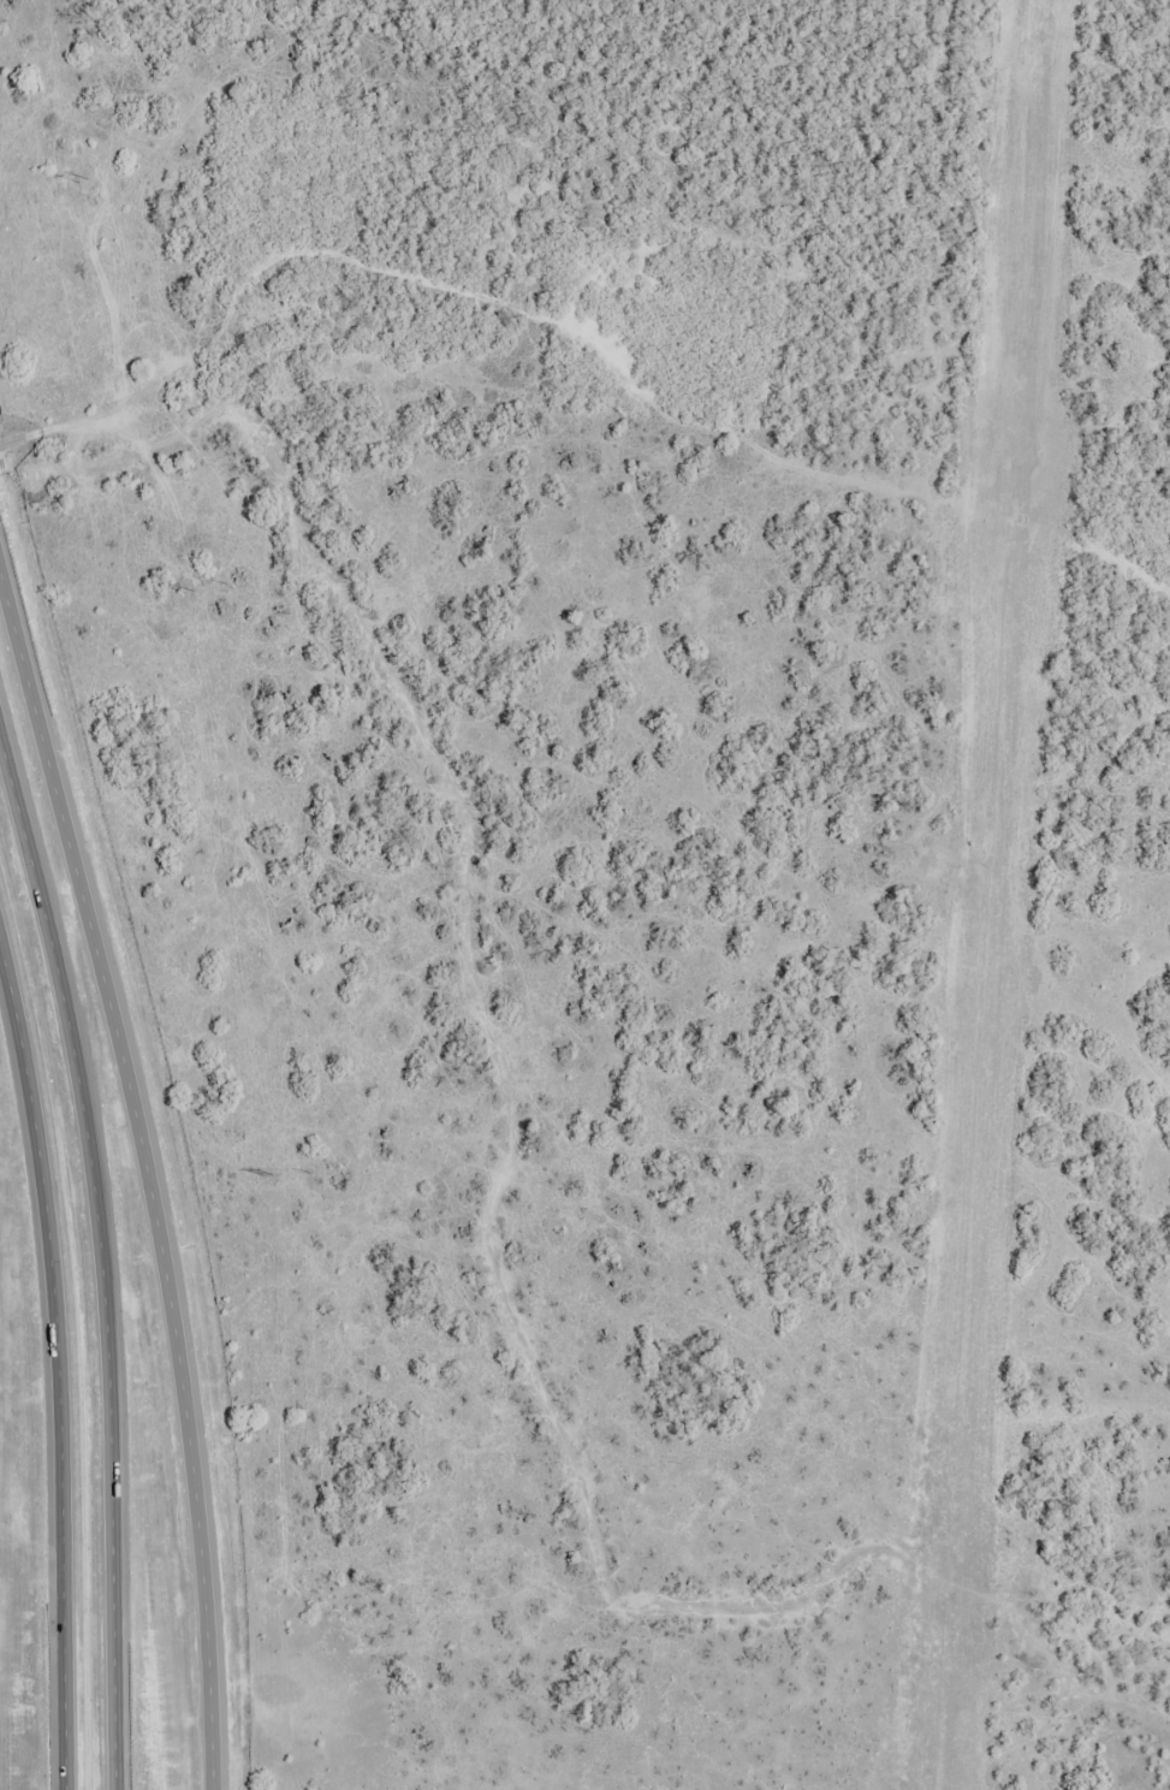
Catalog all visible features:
power tower: (83, 180)
power tower: (188, 589)
road: (148, 1172)
power tower: (269, 1175)
road: (102, 1259)
road: (59, 1365)

